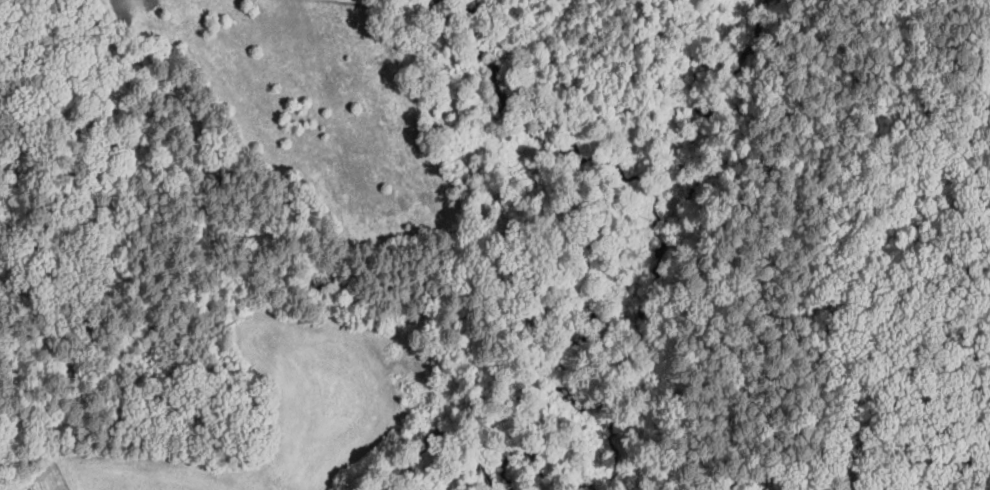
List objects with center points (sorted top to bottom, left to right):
road: (968, 461)
road: (942, 485)
road: (946, 485)

